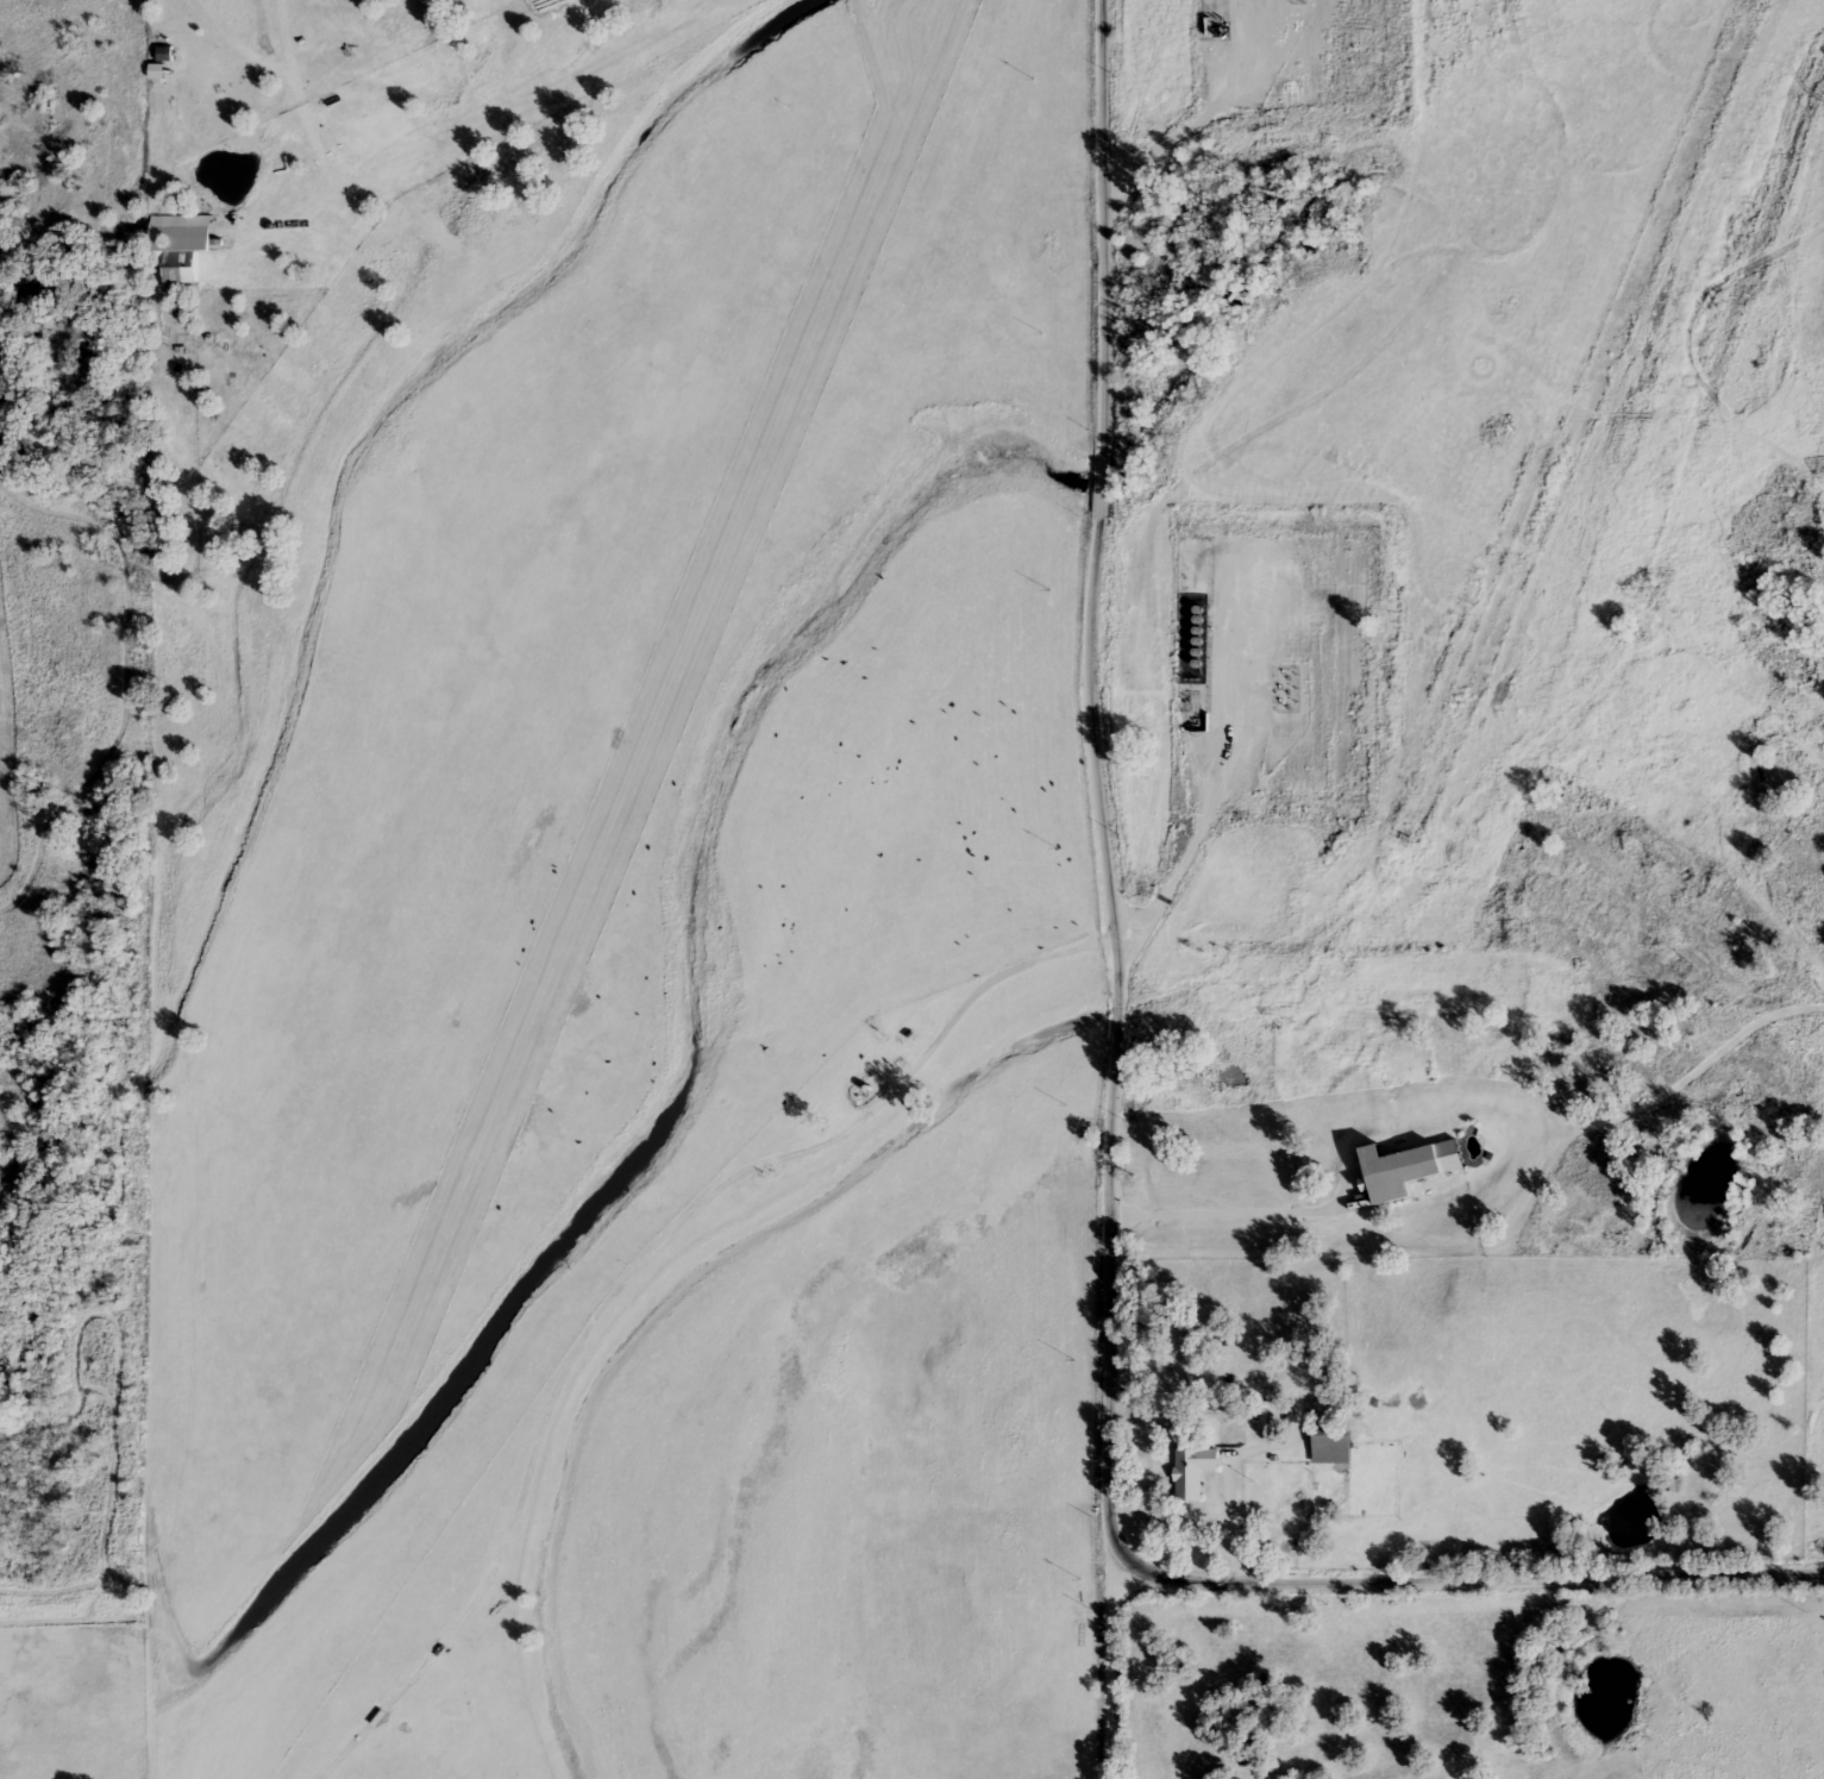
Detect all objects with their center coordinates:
building: (163, 52)
building: (182, 265)
road: (1231, 771)
road: (1112, 889)
road: (800, 1151)
road: (1230, 1211)
building: (1331, 1442)
building: (1191, 1470)
road: (1477, 1580)

